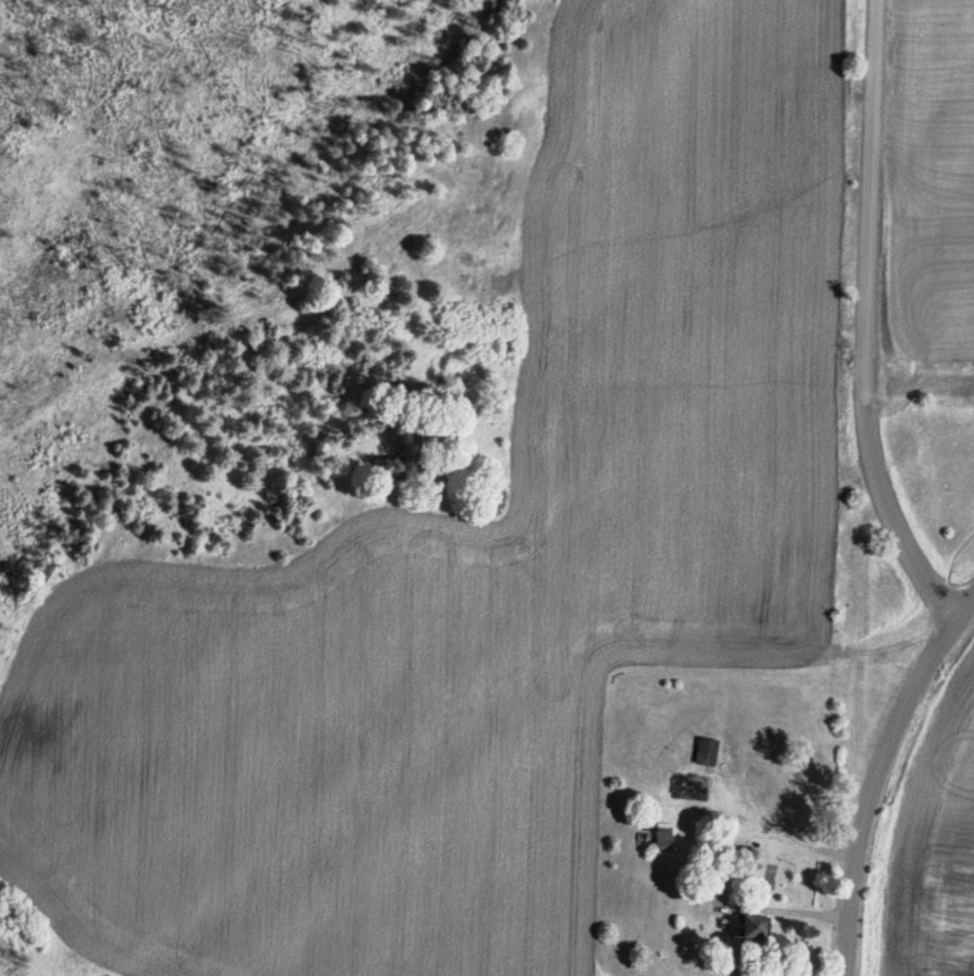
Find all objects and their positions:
road: (870, 319)
building: (707, 752)
road: (878, 775)
building: (695, 793)
building: (663, 837)
road: (789, 841)
building: (754, 929)

